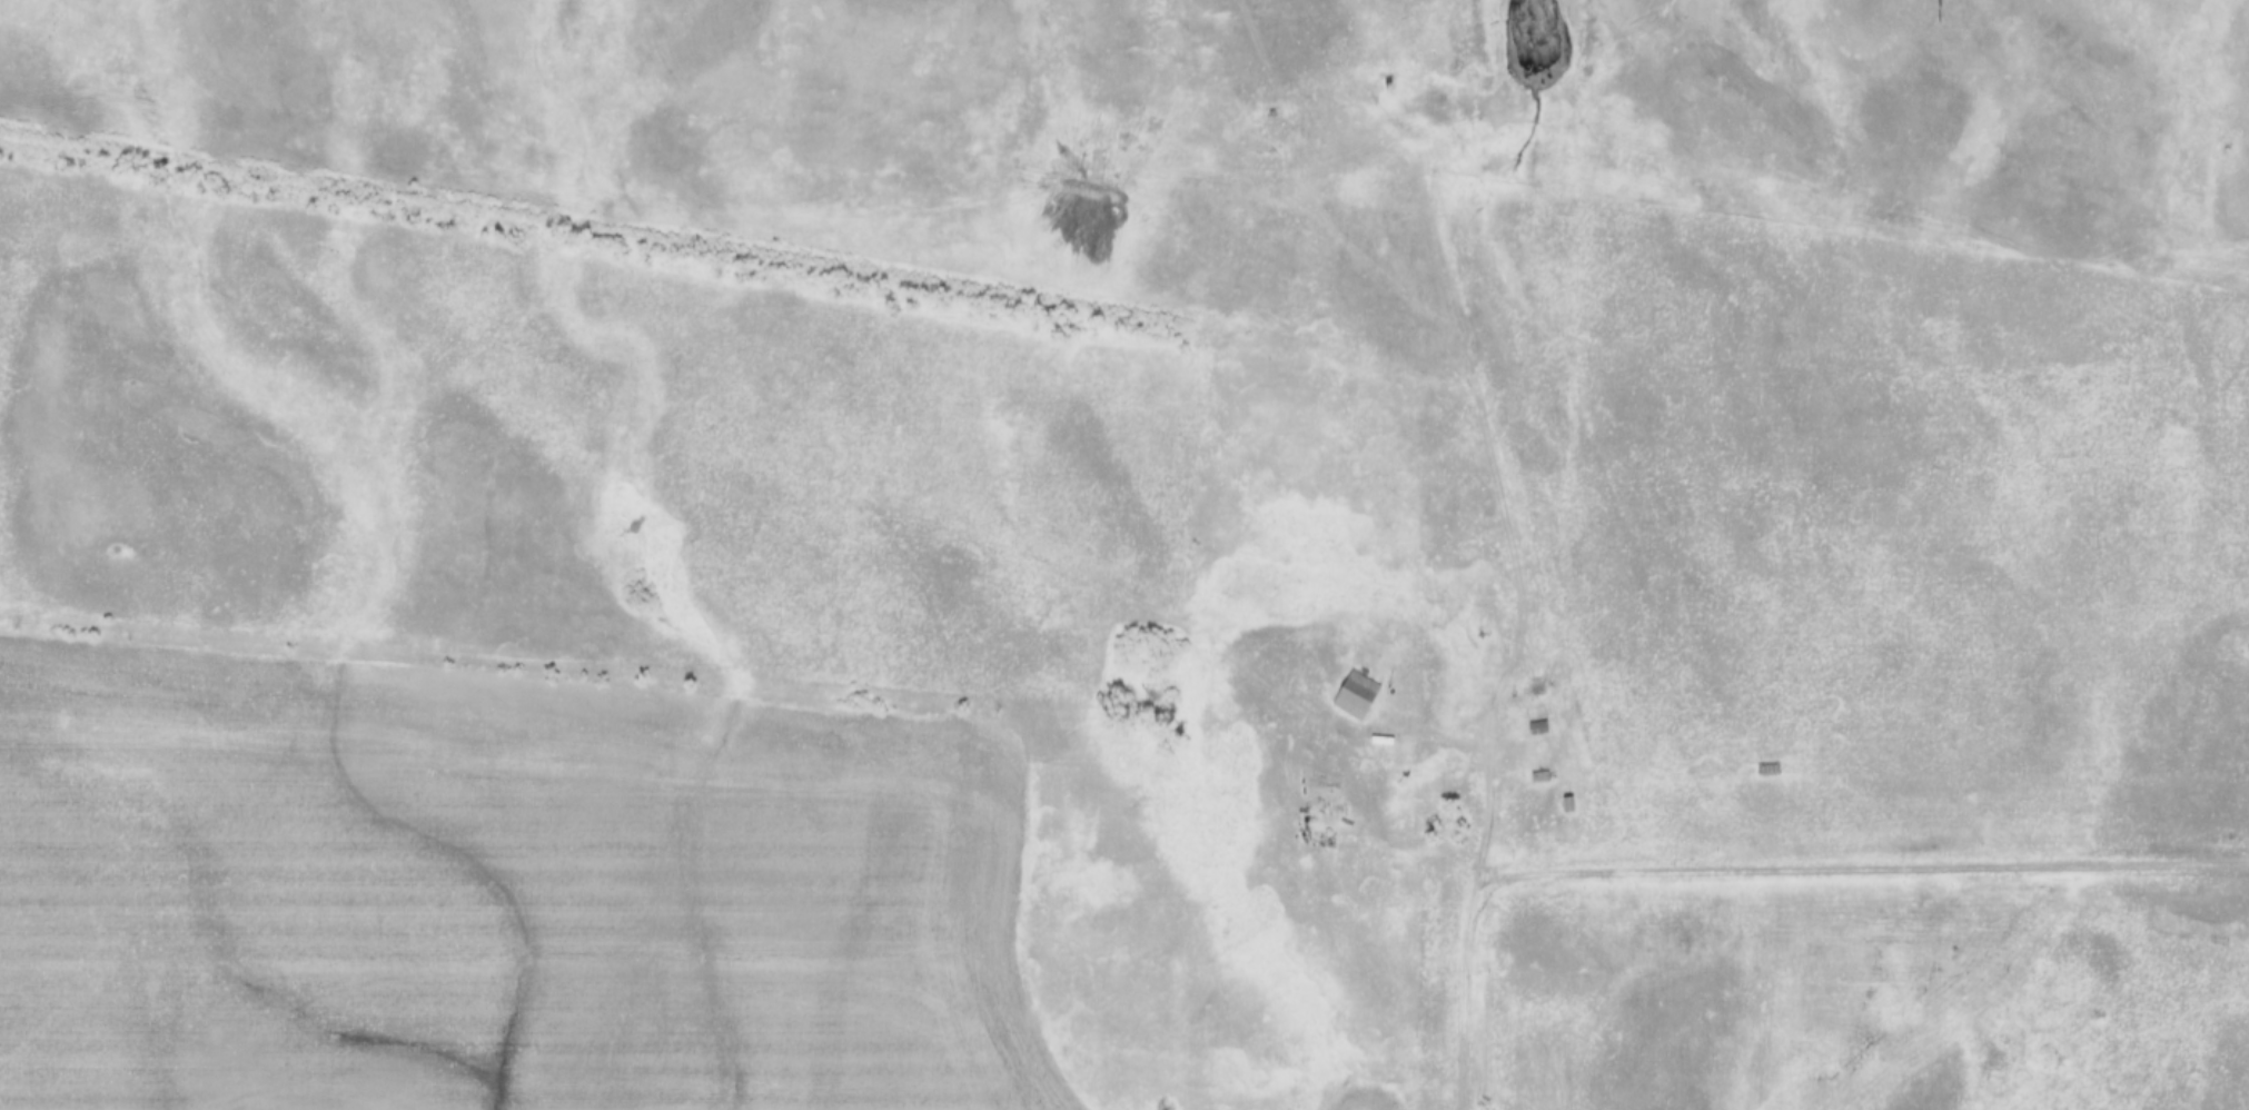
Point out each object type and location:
building: (1351, 692)
building: (1538, 727)
building: (1568, 803)
road: (1865, 868)
road: (1466, 999)

